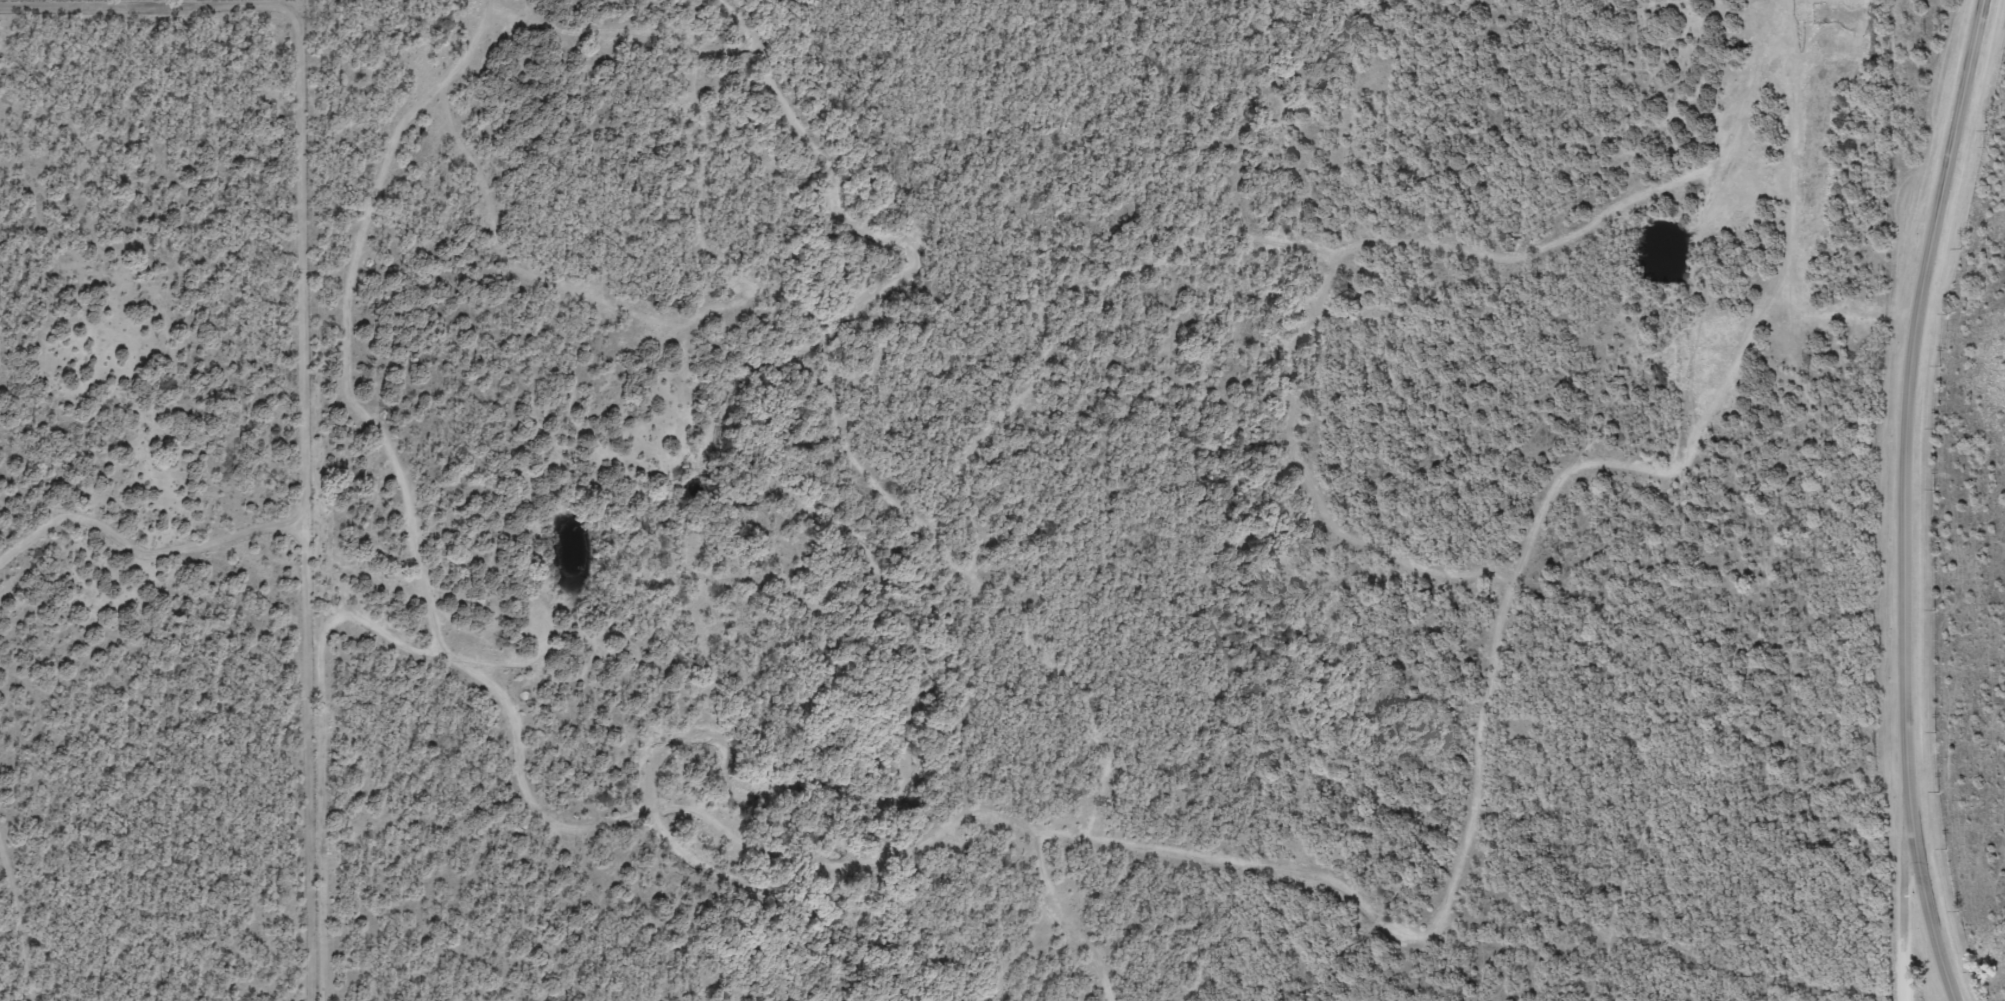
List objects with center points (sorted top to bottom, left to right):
road: (1906, 499)
road: (1905, 908)

